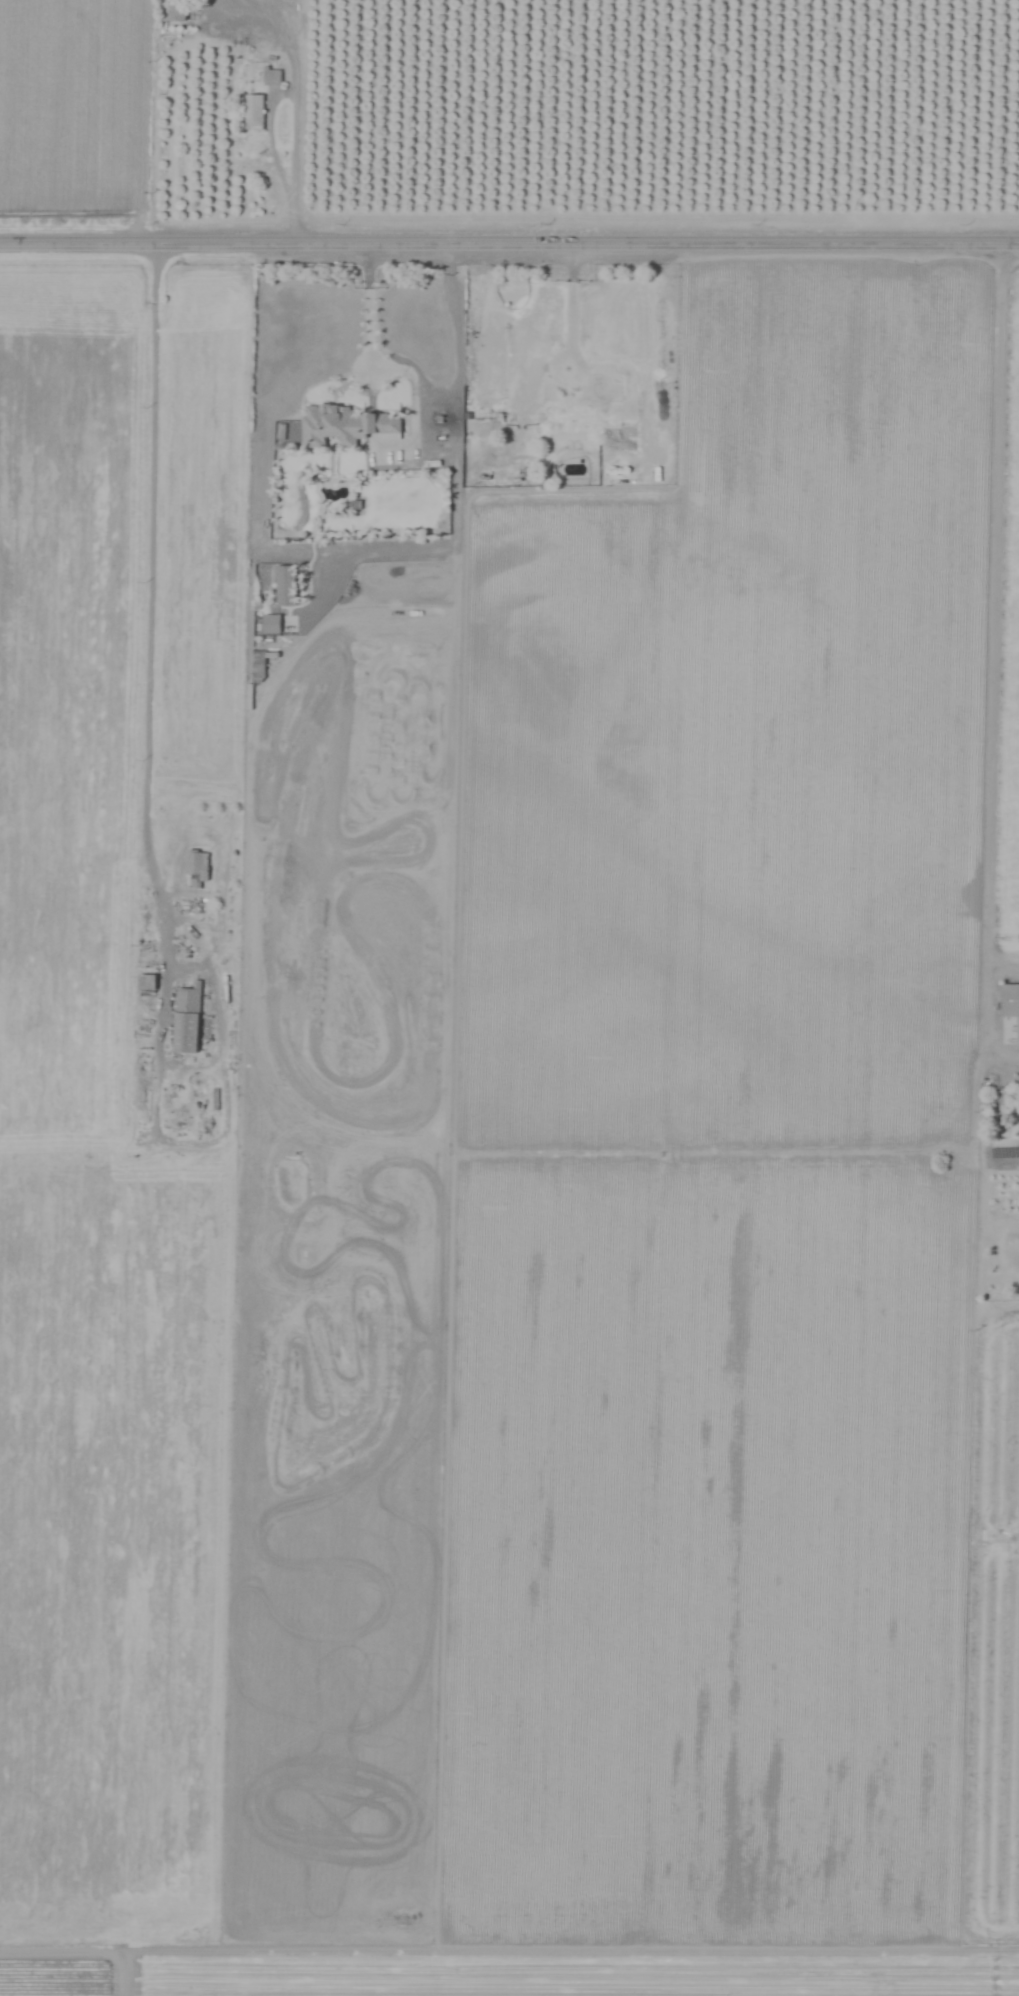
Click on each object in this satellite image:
building: (176, 10)
building: (272, 77)
road: (295, 109)
building: (254, 111)
road: (509, 246)
road: (418, 395)
building: (574, 422)
building: (343, 425)
building: (285, 585)
building: (271, 624)
road: (155, 646)
road: (995, 771)
building: (196, 869)
building: (146, 982)
building: (1010, 1003)
building: (187, 1020)
crop: (529, 1056)

